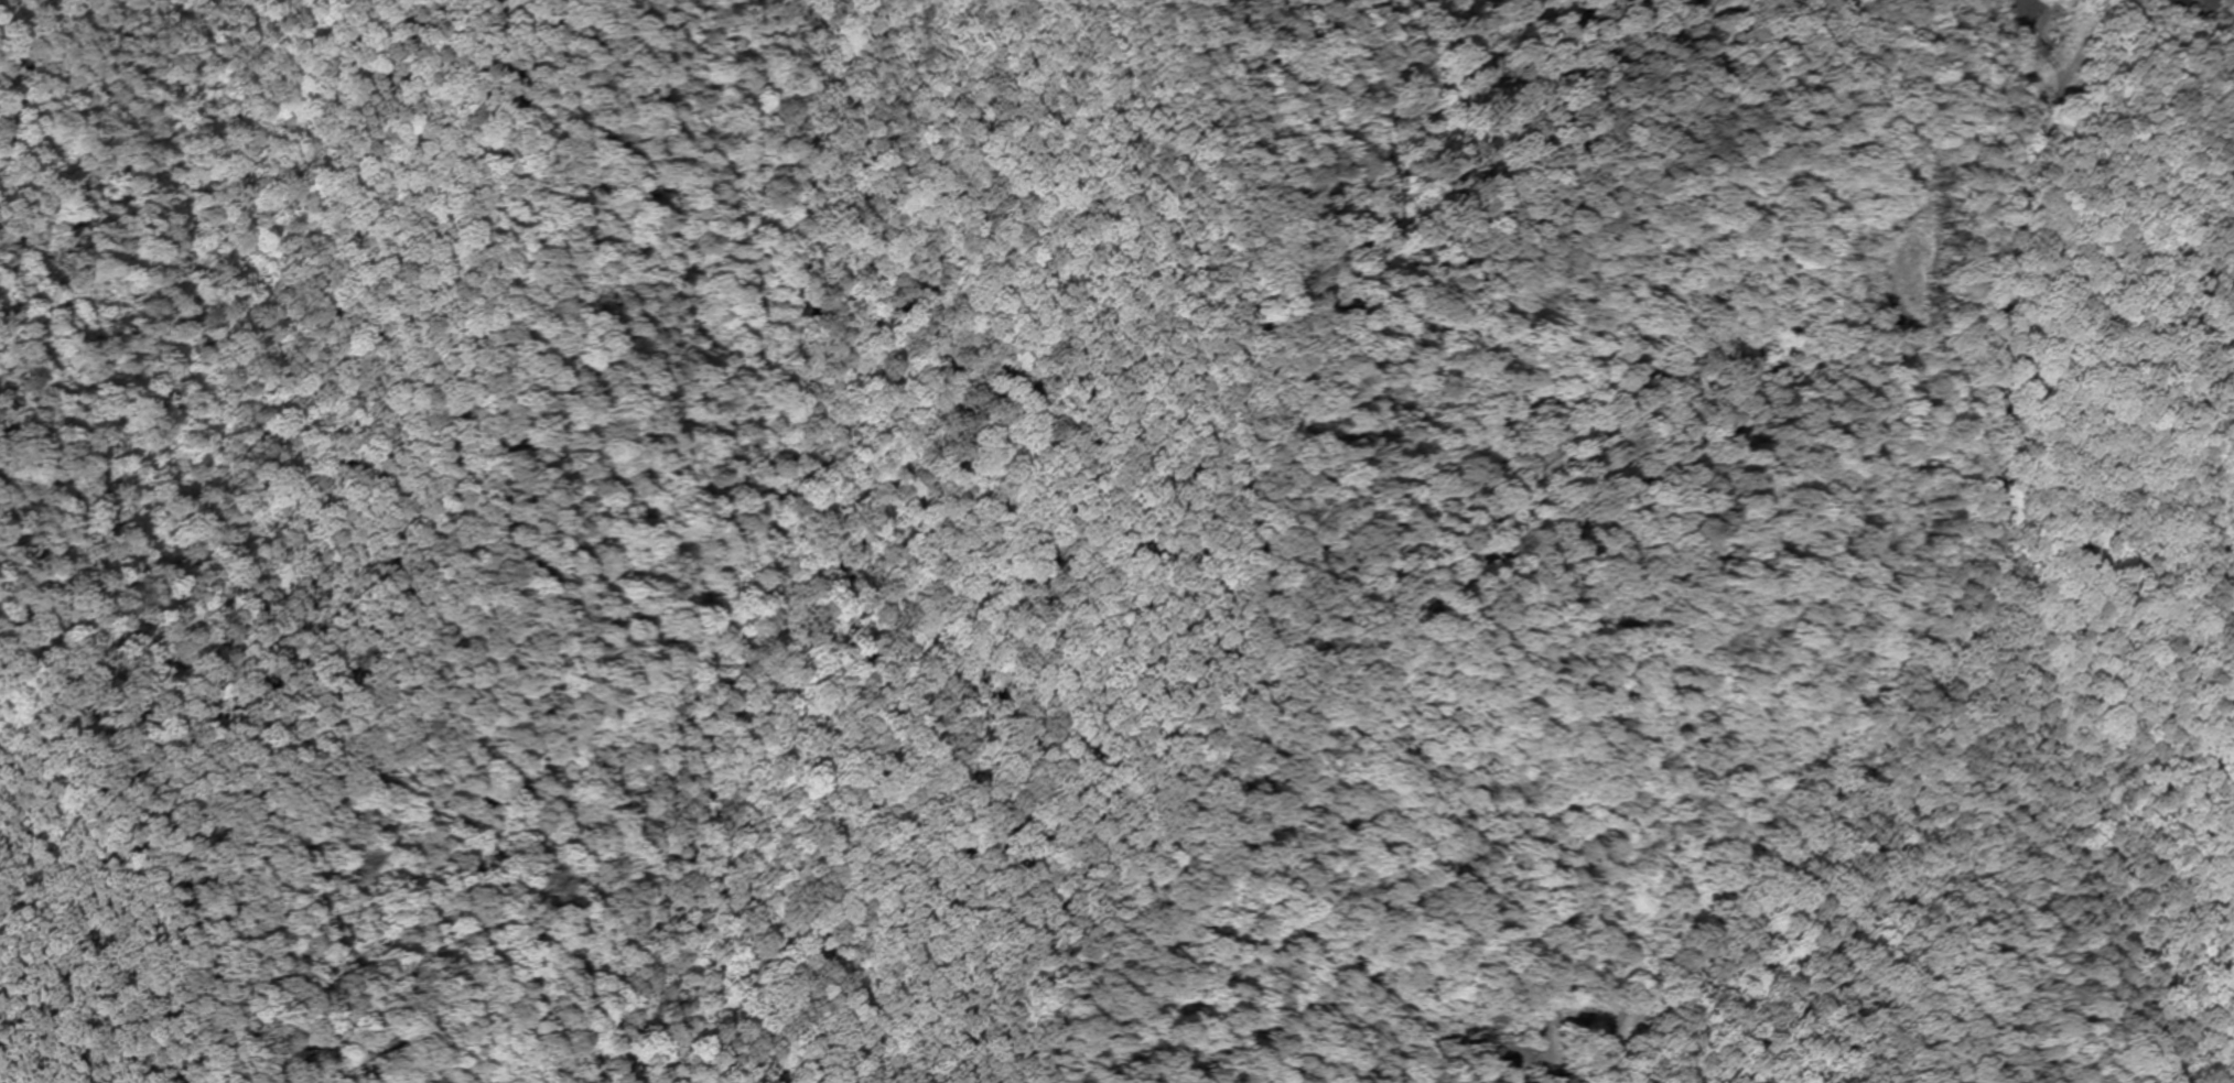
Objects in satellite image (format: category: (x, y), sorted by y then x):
building: (2176, 3)
building: (2048, 23)

